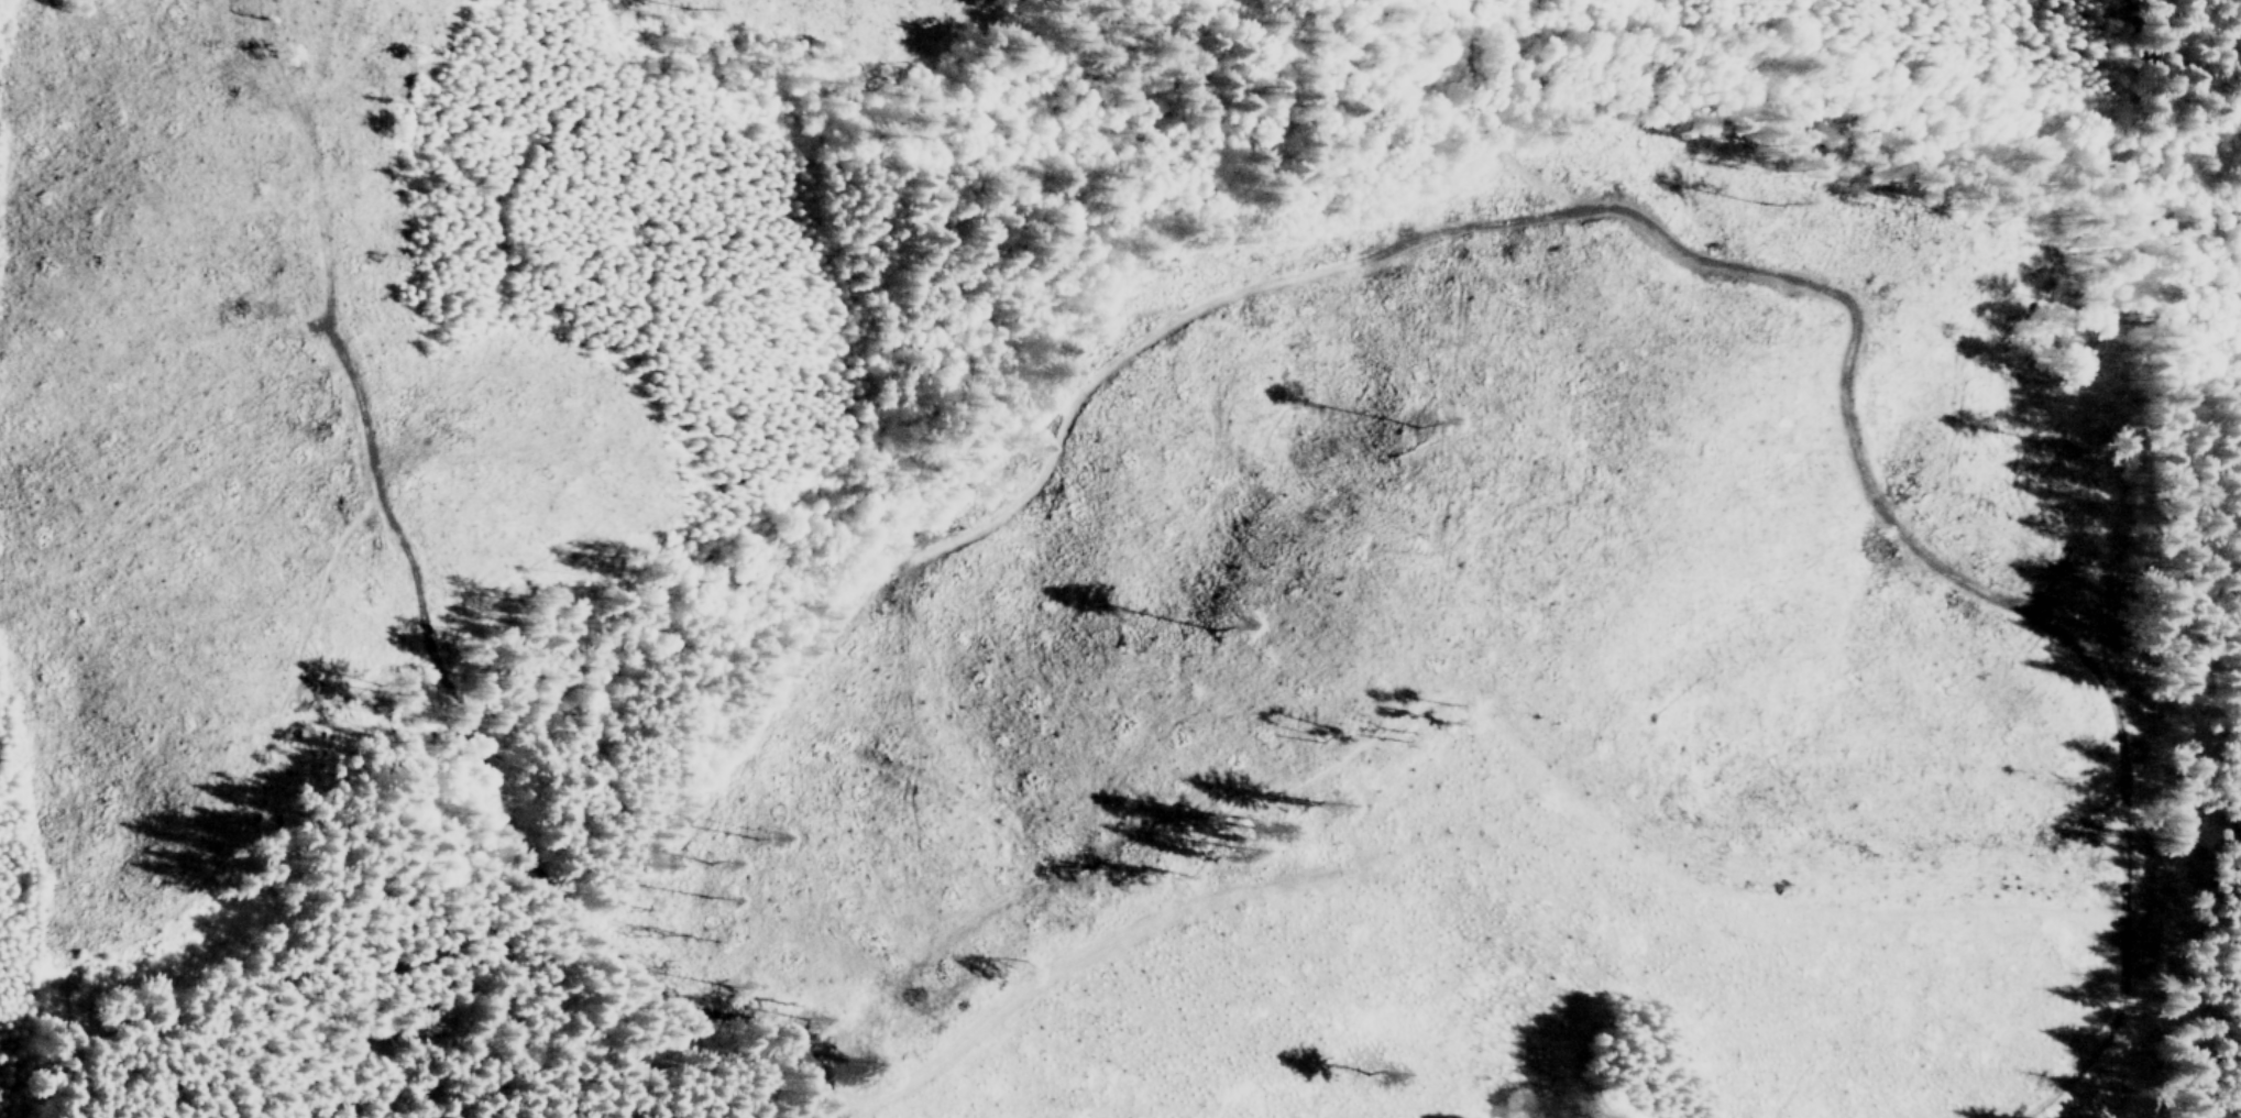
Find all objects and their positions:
crop: (1613, 975)

